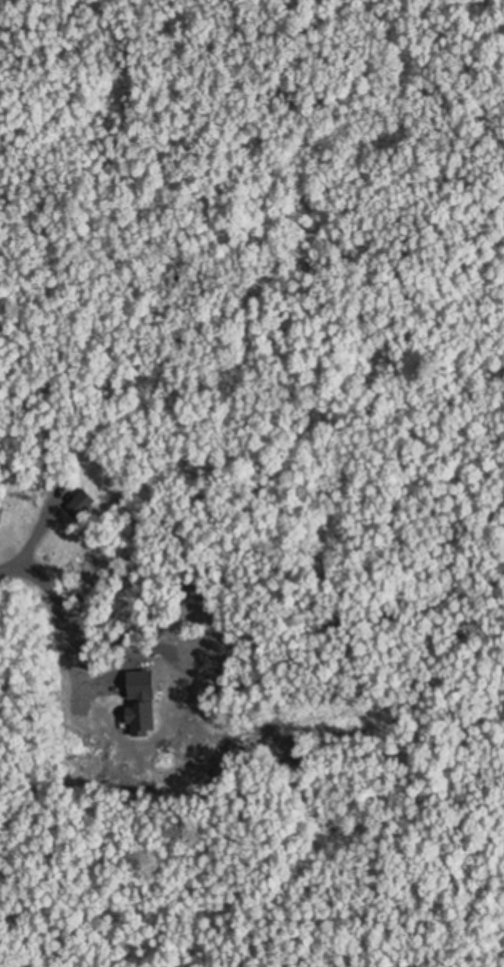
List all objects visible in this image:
building: (82, 502)

